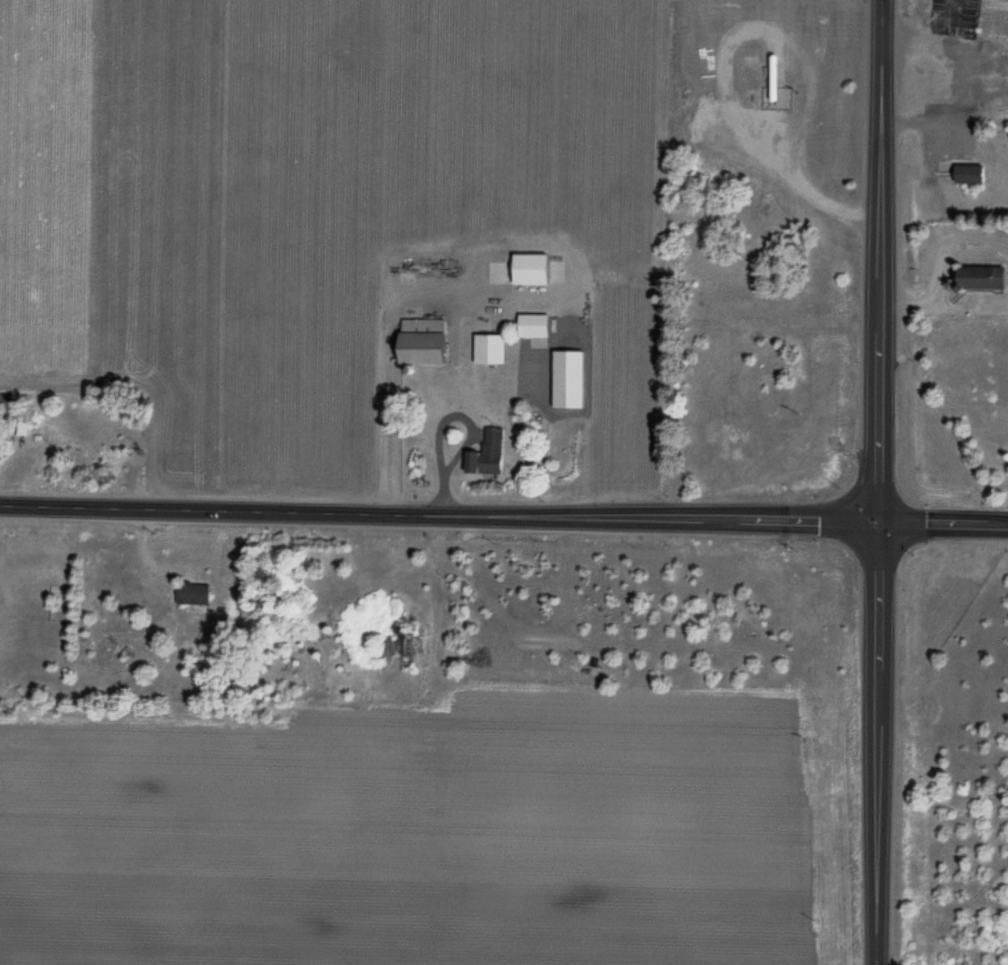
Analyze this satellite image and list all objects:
building: (1006, 0)
building: (992, 28)
building: (970, 175)
building: (534, 269)
building: (985, 278)
building: (536, 326)
building: (425, 344)
building: (491, 349)
building: (487, 455)
road: (876, 482)
road: (438, 513)
traffic signals: (876, 523)
road: (942, 525)
building: (193, 595)
building: (399, 646)

